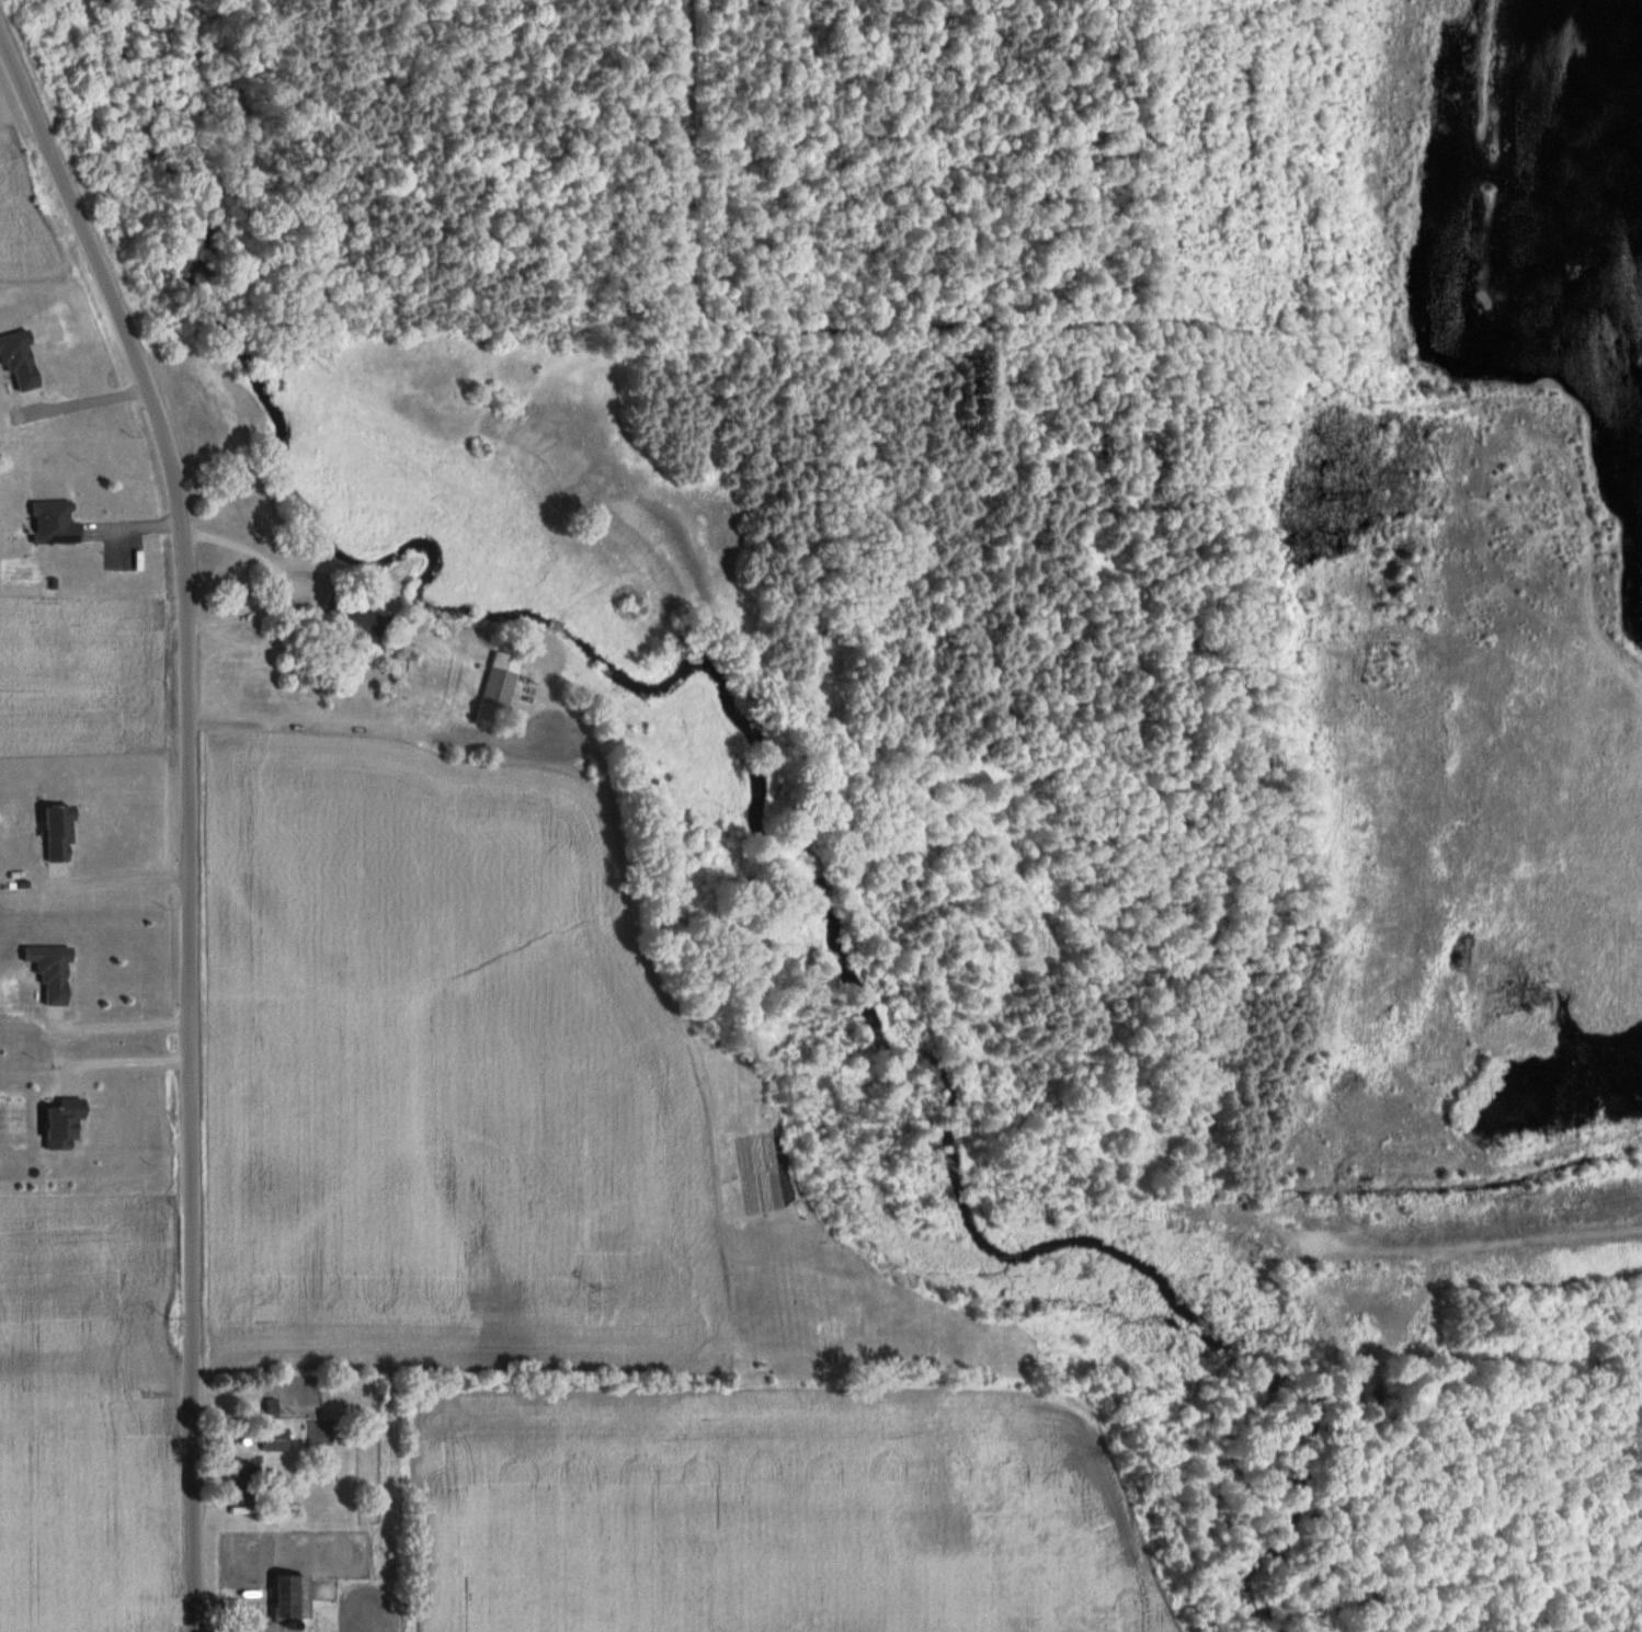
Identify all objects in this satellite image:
building: (19, 360)
building: (54, 523)
building: (356, 616)
building: (499, 691)
road: (189, 817)
building: (58, 835)
road: (123, 877)
building: (52, 973)
road: (123, 1023)
building: (62, 1125)
building: (275, 1440)
building: (244, 1471)
building: (292, 1599)

